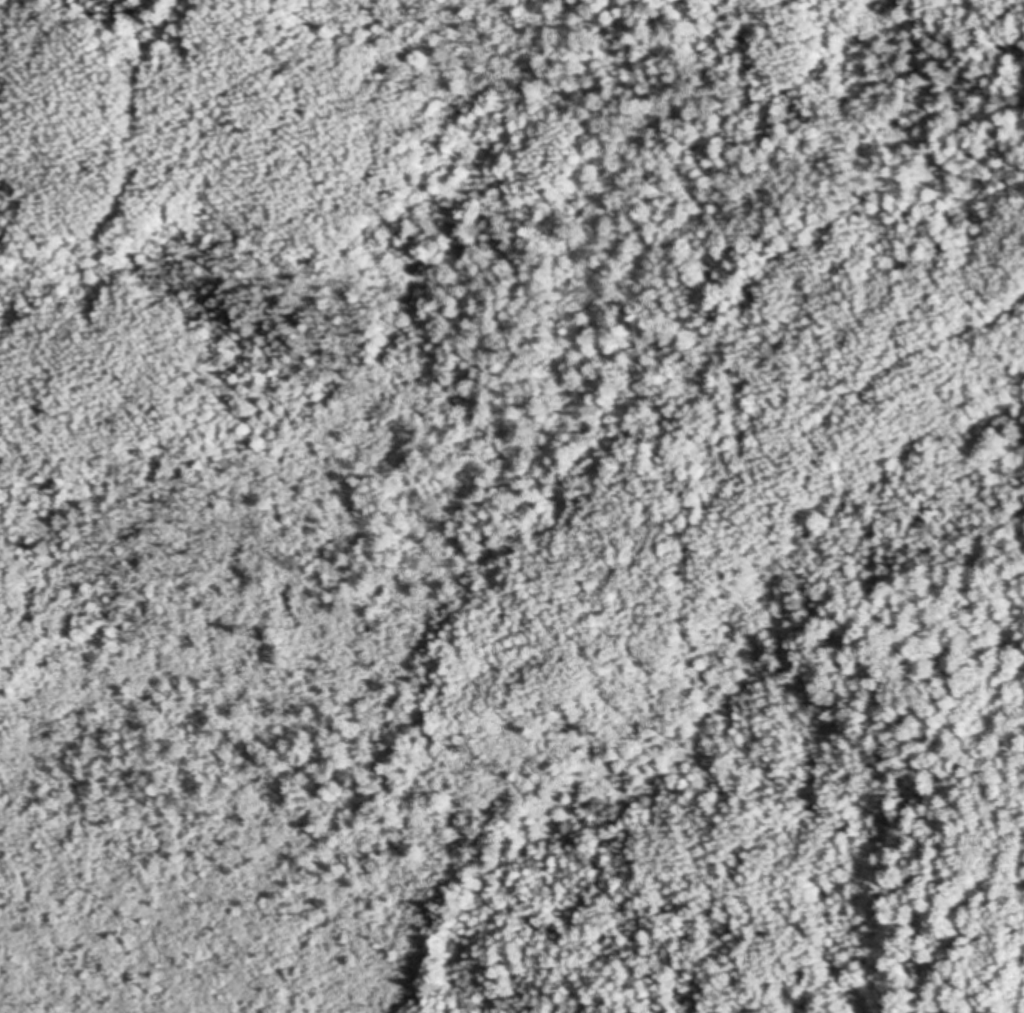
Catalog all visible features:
park: (1002, 1004)

